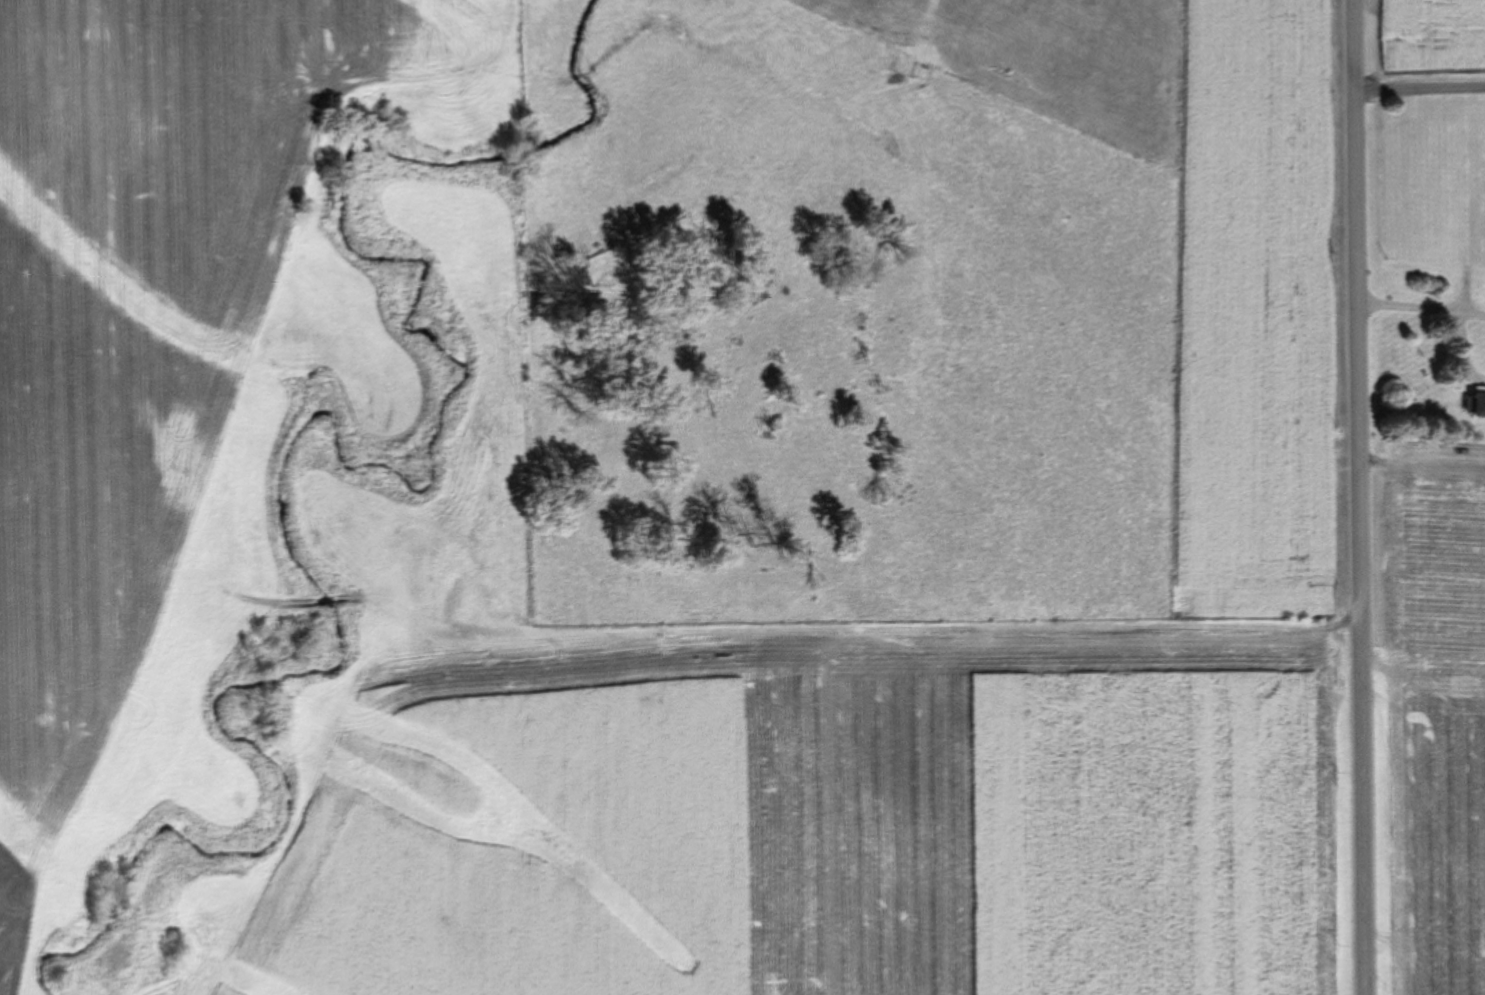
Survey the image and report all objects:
road: (1418, 86)
building: (1480, 193)
road: (1405, 305)
road: (1469, 313)
road: (1463, 350)
building: (1480, 404)
road: (1358, 497)

